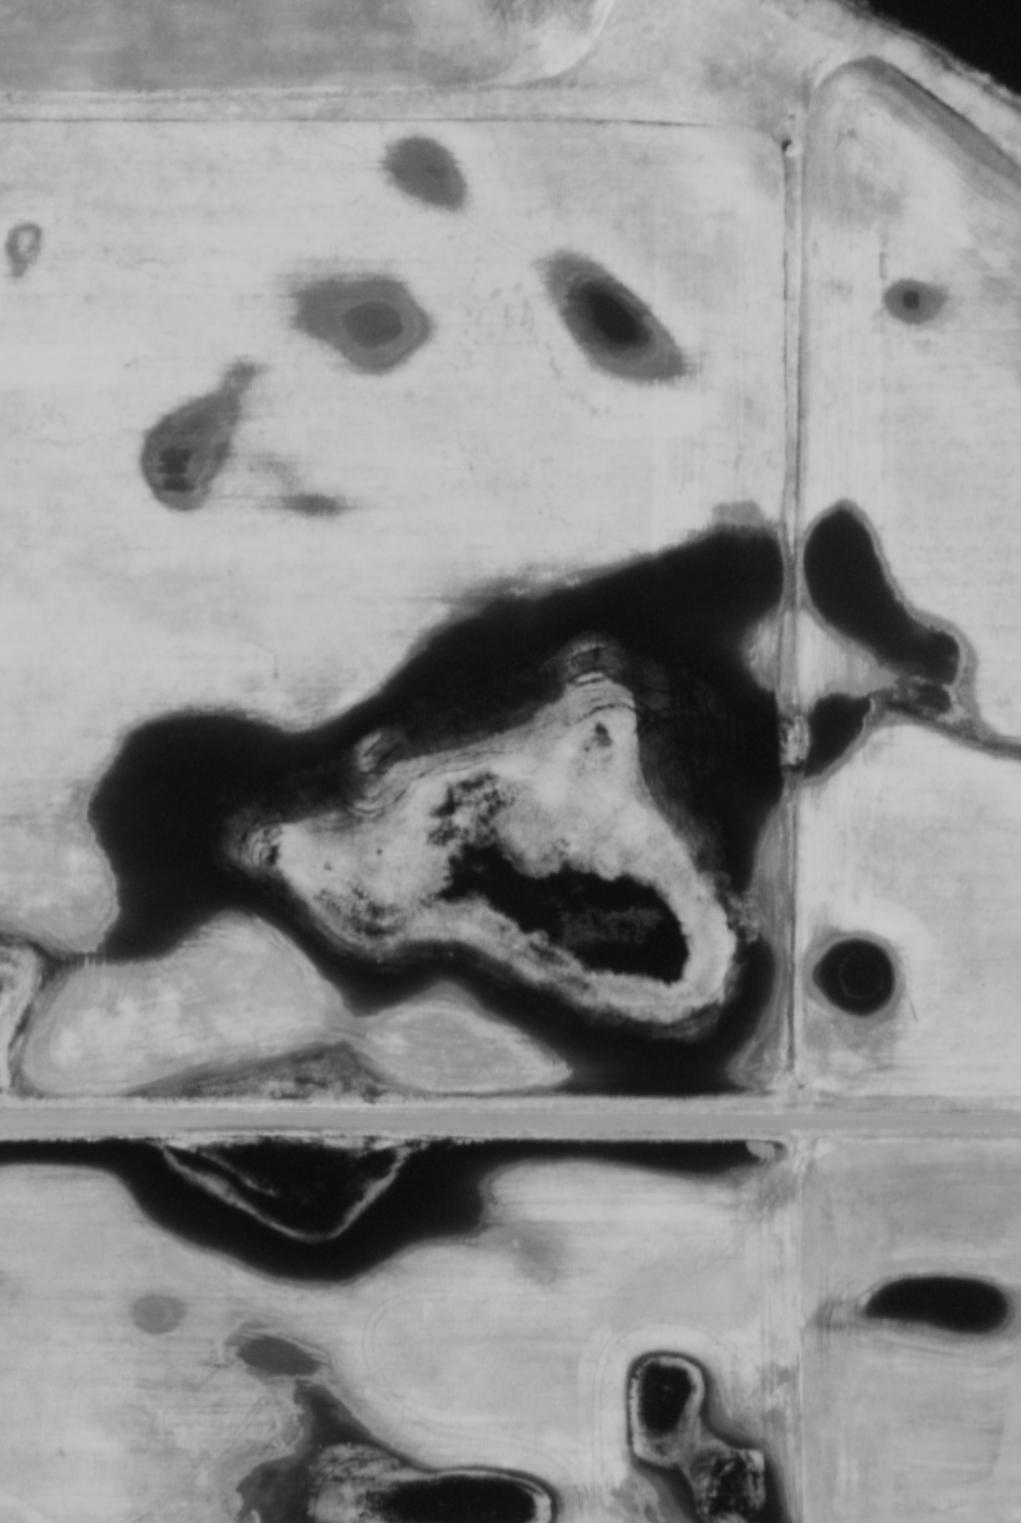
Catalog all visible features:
road: (510, 1123)

